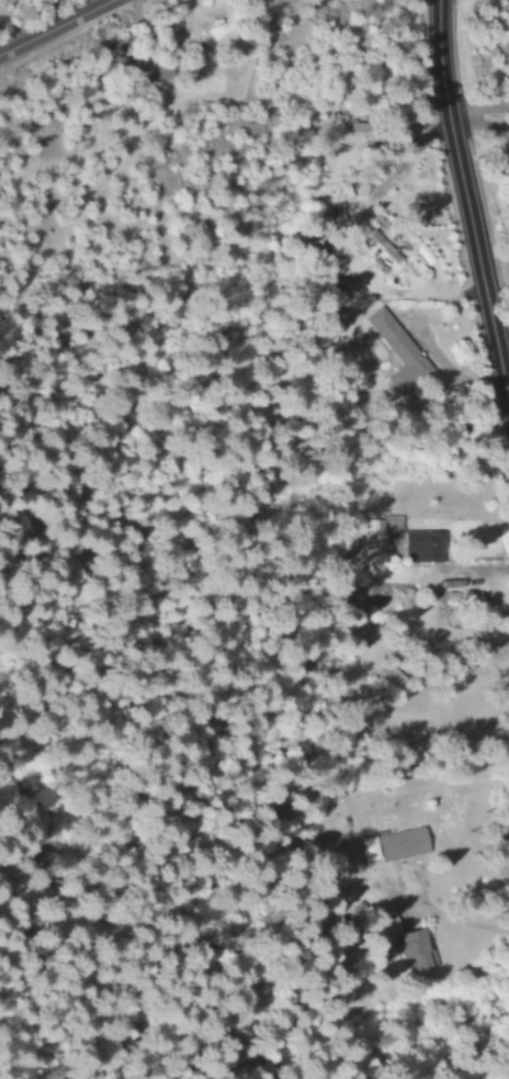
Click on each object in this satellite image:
road: (55, 26)
building: (123, 68)
building: (333, 119)
road: (465, 206)
building: (375, 251)
building: (420, 256)
building: (393, 351)
building: (371, 533)
building: (418, 547)
building: (388, 846)
building: (397, 944)

